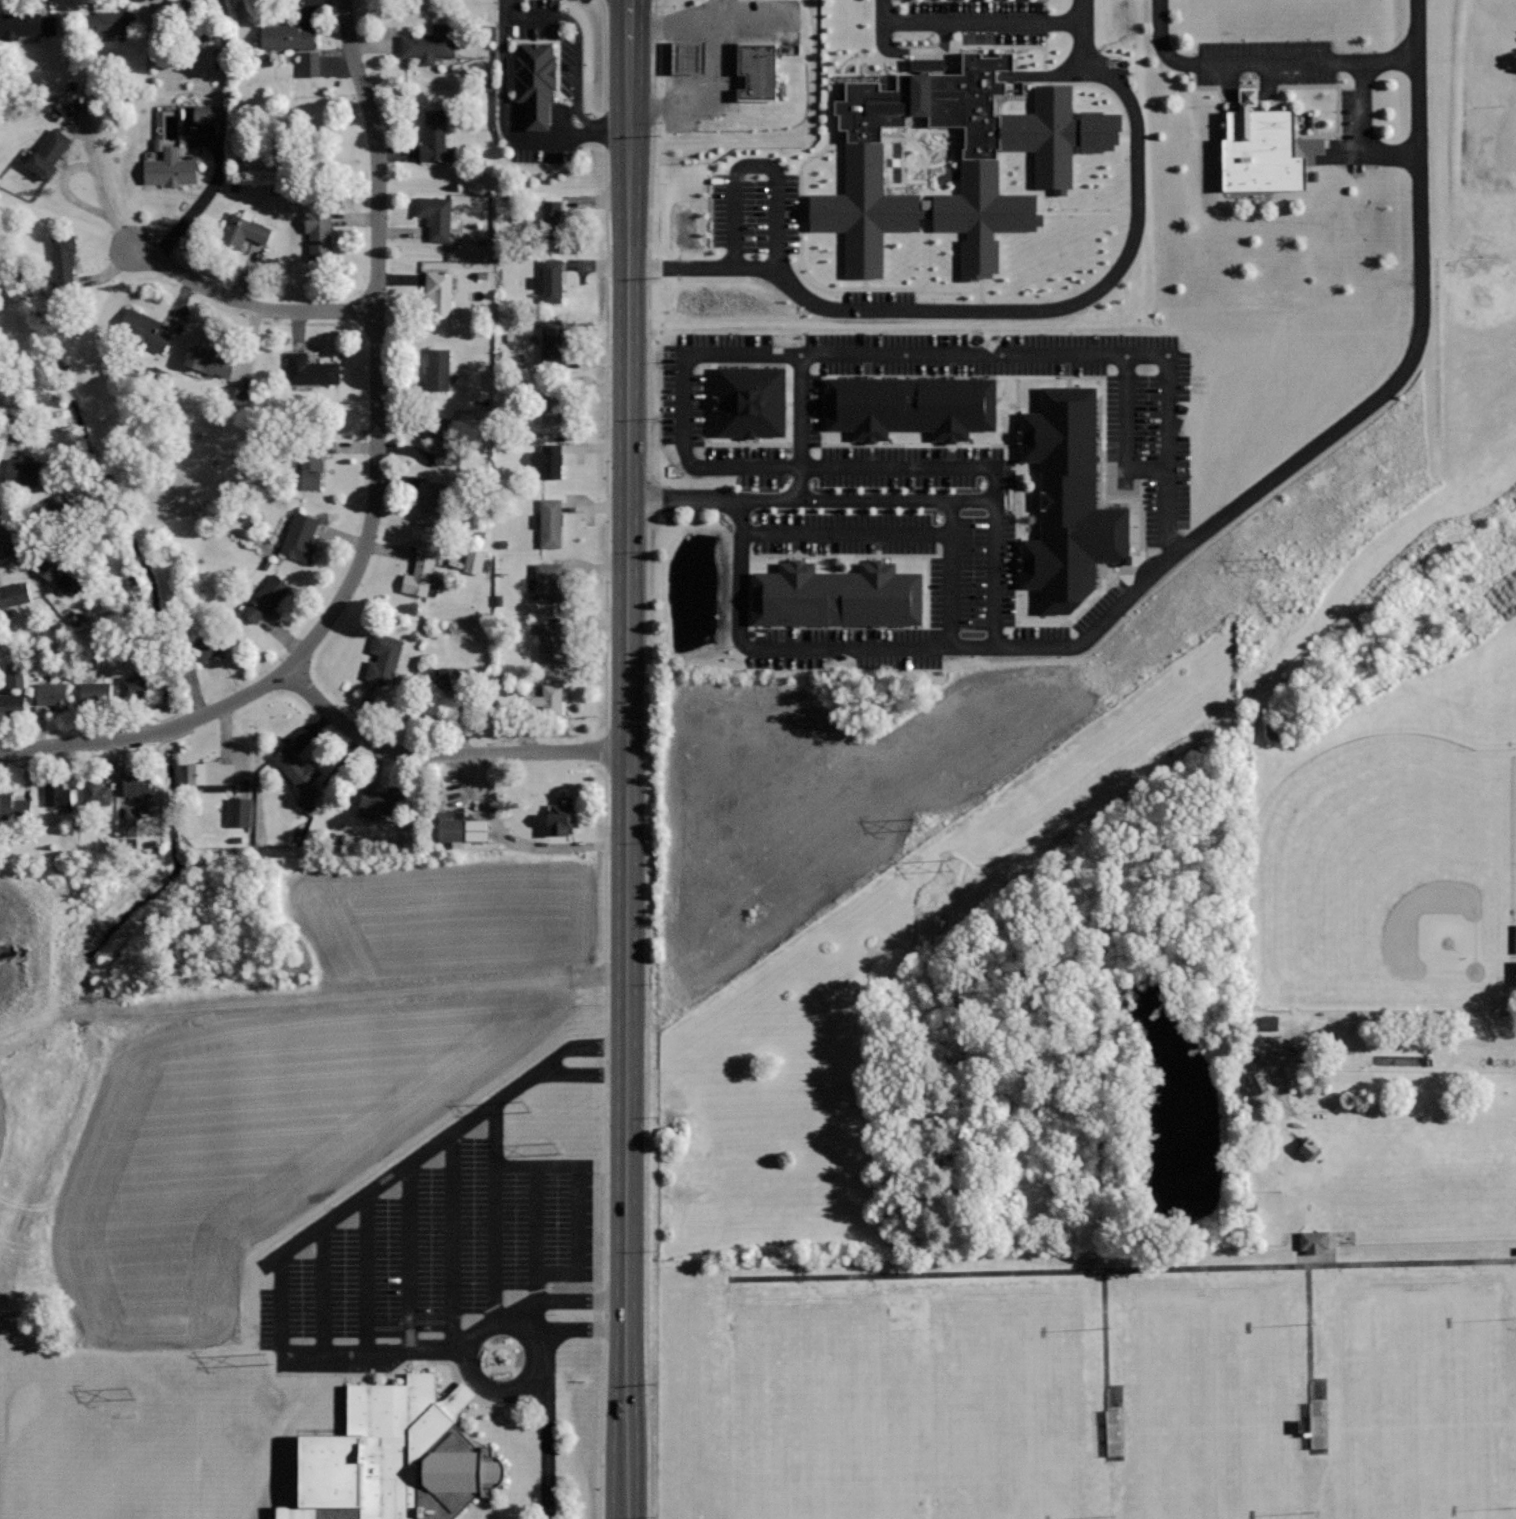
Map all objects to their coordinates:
building: (194, 10)
road: (759, 20)
road: (683, 21)
road: (912, 21)
road: (944, 21)
building: (109, 23)
building: (27, 25)
building: (287, 37)
road: (1079, 37)
building: (431, 43)
parking lot: (710, 53)
building: (682, 57)
road: (1262, 64)
building: (317, 65)
building: (758, 70)
building: (537, 81)
parking lot: (1357, 89)
road: (717, 105)
road: (1360, 110)
building: (214, 115)
road: (505, 125)
building: (435, 137)
building: (1261, 148)
building: (48, 154)
road: (1367, 157)
parking lot: (754, 159)
road: (88, 166)
building: (170, 168)
building: (1053, 170)
road: (211, 195)
building: (436, 215)
building: (552, 217)
building: (243, 231)
building: (319, 233)
road: (652, 236)
building: (64, 263)
road: (754, 265)
building: (552, 280)
building: (440, 292)
road: (250, 305)
road: (938, 312)
building: (146, 330)
building: (552, 341)
road: (734, 355)
building: (210, 361)
building: (311, 369)
building: (438, 369)
building: (747, 402)
building: (911, 406)
building: (550, 411)
road: (1128, 426)
road: (801, 427)
road: (1339, 430)
building: (444, 436)
building: (550, 458)
building: (310, 469)
building: (22, 473)
road: (374, 496)
parking lot: (1167, 500)
building: (432, 501)
road: (810, 501)
building: (1066, 502)
building: (64, 512)
building: (551, 522)
road: (847, 533)
building: (300, 537)
building: (51, 563)
building: (478, 563)
power tower: (1279, 563)
building: (419, 574)
road: (952, 574)
building: (548, 582)
building: (72, 585)
building: (15, 594)
building: (833, 595)
building: (266, 598)
power tower: (1309, 605)
building: (551, 643)
building: (212, 644)
road: (777, 648)
building: (383, 657)
building: (20, 678)
building: (448, 678)
building: (133, 686)
building: (95, 692)
building: (53, 694)
building: (546, 701)
building: (12, 705)
road: (442, 753)
road: (628, 759)
building: (297, 767)
building: (210, 772)
road: (120, 781)
building: (137, 784)
building: (58, 790)
building: (96, 792)
building: (314, 800)
building: (383, 801)
building: (15, 807)
building: (244, 814)
building: (560, 814)
power tower: (920, 822)
building: (458, 827)
building: (133, 829)
power tower: (951, 863)
park: (1388, 878)
building: (1515, 973)
road: (339, 996)
road: (646, 1022)
building: (1265, 1022)
road: (1386, 1043)
road: (595, 1049)
road: (577, 1074)
power tower: (526, 1109)
power tower: (558, 1149)
road: (580, 1198)
road: (495, 1210)
road: (536, 1233)
road: (302, 1239)
building: (1310, 1241)
road: (455, 1243)
parking lot: (457, 1251)
road: (412, 1259)
road: (1122, 1269)
road: (369, 1275)
road: (323, 1292)
road: (565, 1302)
road: (575, 1329)
road: (1309, 1332)
road: (527, 1334)
road: (1105, 1339)
power tower: (270, 1359)
power tower: (133, 1395)
park: (1417, 1399)
park: (1211, 1408)
park: (1004, 1411)
park: (808, 1413)
road: (545, 1444)
building: (388, 1458)

